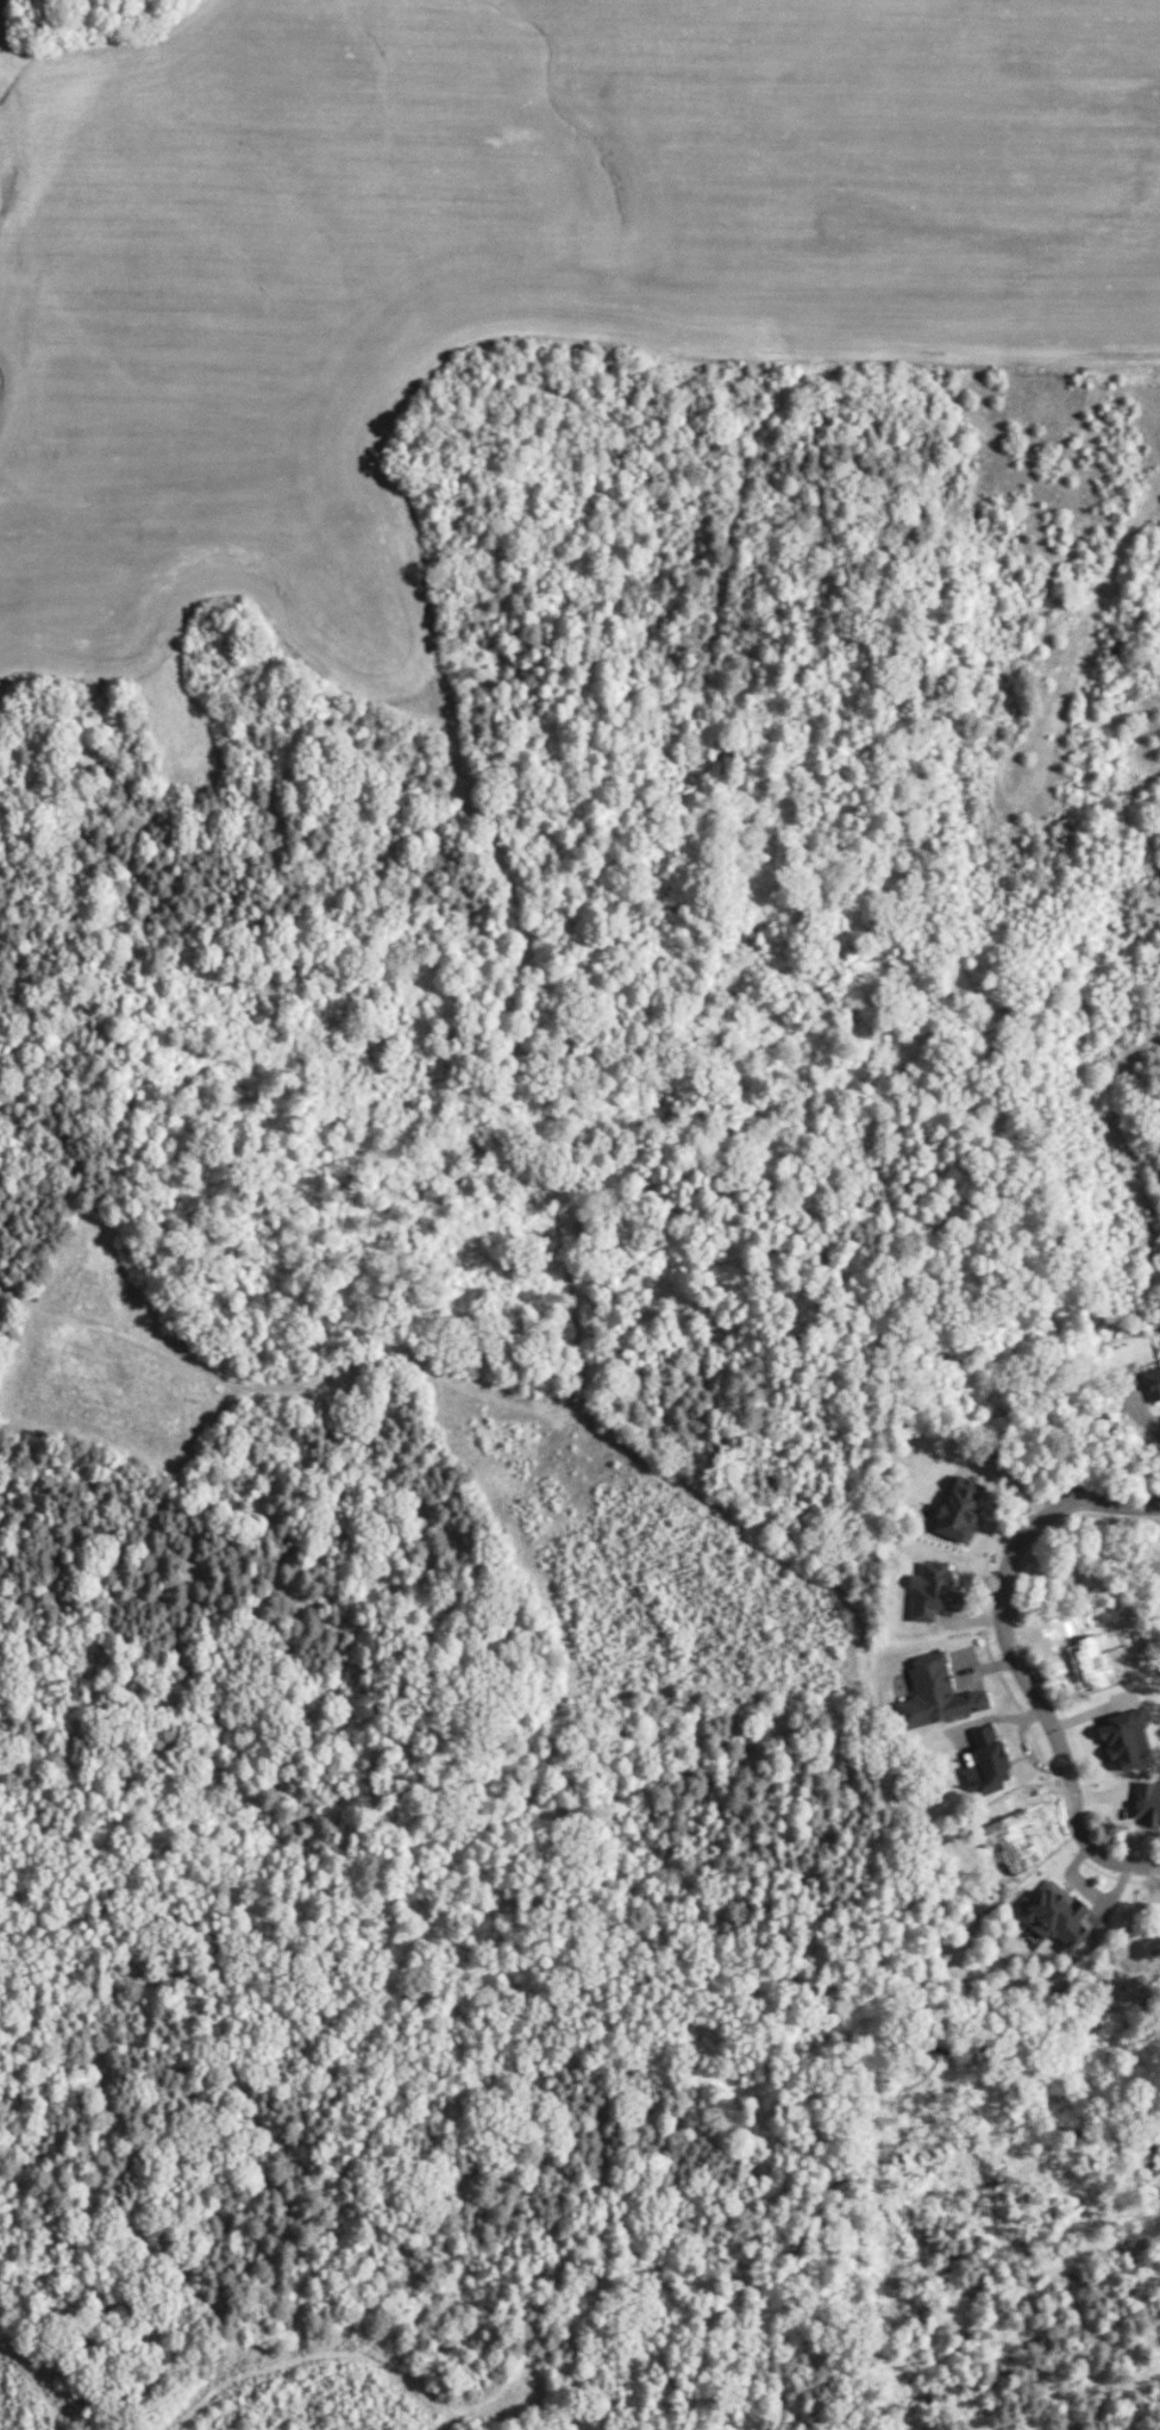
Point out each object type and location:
building: (1152, 1380)
road: (1137, 1402)
road: (1004, 1480)
road: (1086, 1497)
building: (958, 1505)
building: (930, 1589)
road: (971, 1616)
building: (1096, 1654)
road: (986, 1664)
building: (935, 1691)
road: (1045, 1706)
road: (1089, 1711)
road: (989, 1716)
building: (1125, 1737)
road: (1023, 1743)
building: (986, 1760)
road: (1098, 1793)
building: (1145, 1799)
building: (1014, 1837)
road: (1145, 1861)
road: (1071, 1874)
road: (1111, 1890)
building: (1054, 1912)

